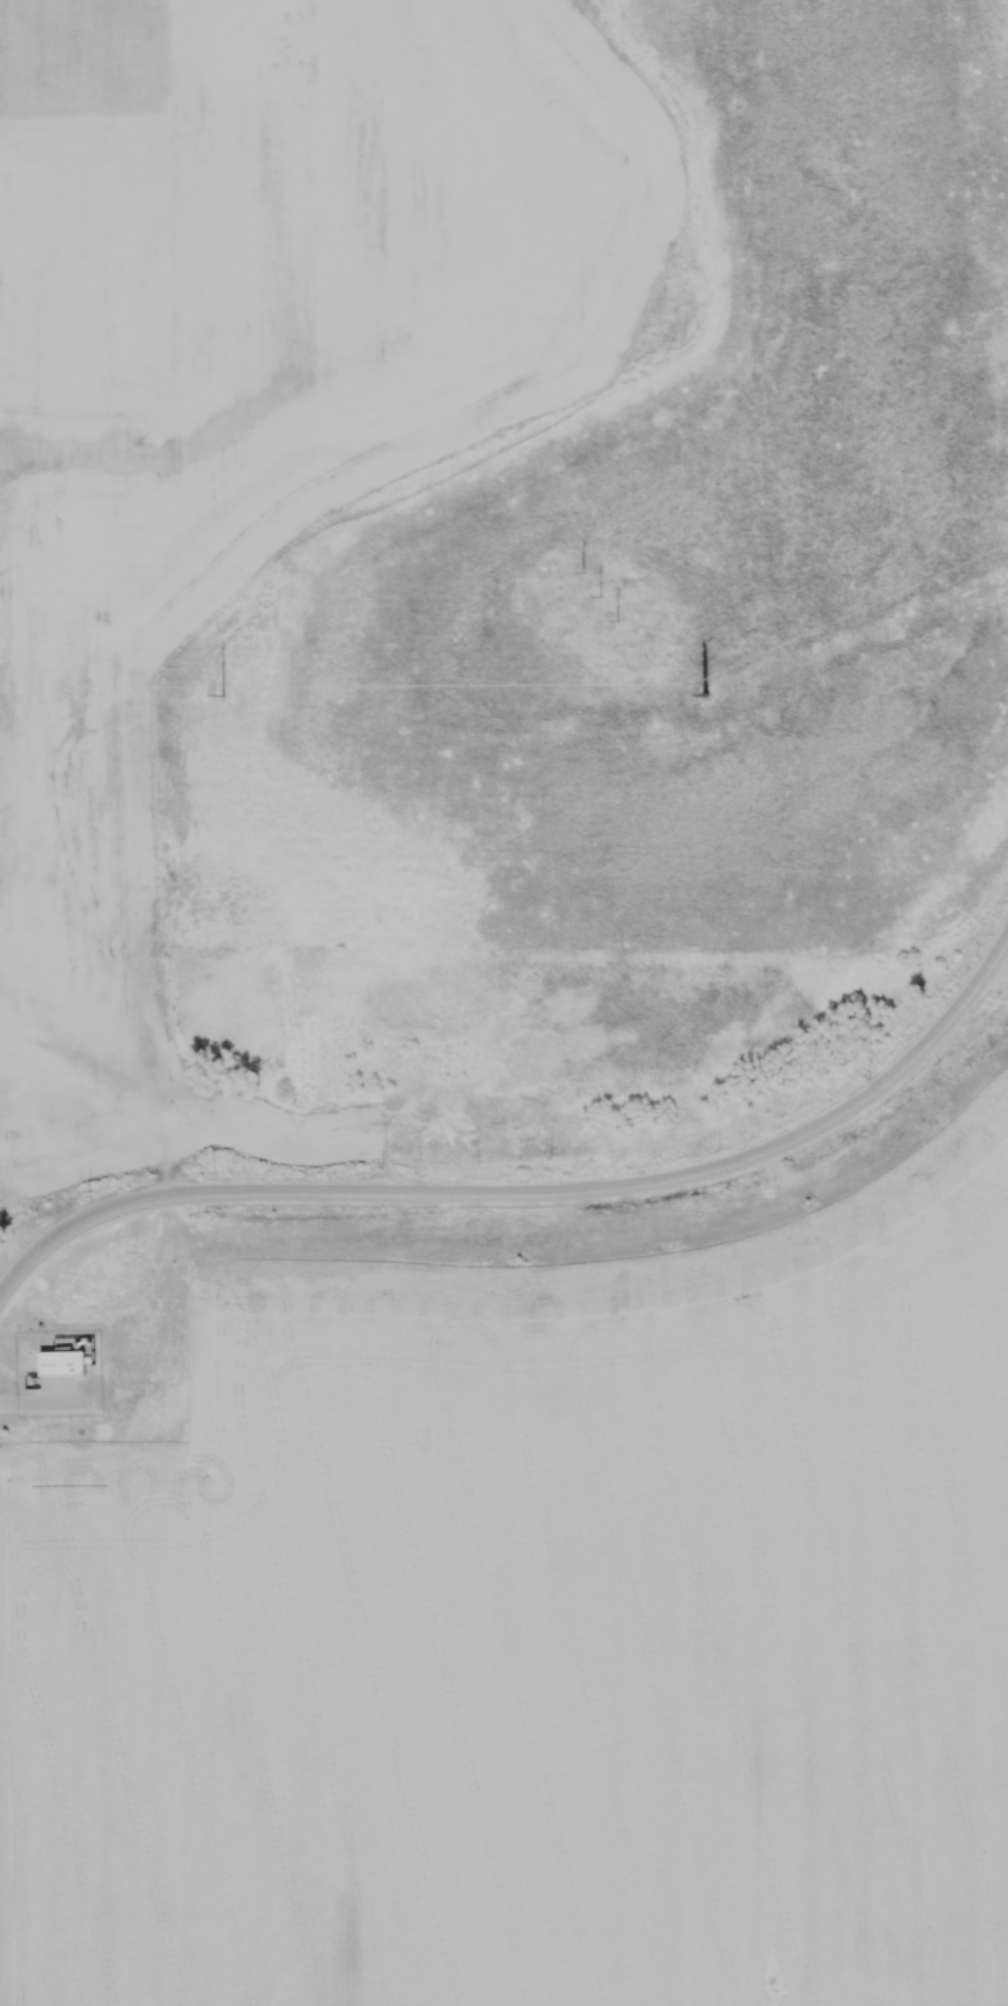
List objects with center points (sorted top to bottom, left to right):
power tower: (602, 595)
power tower: (224, 694)
power tower: (702, 694)
road: (998, 978)
road: (532, 1192)
road: (36, 1402)

